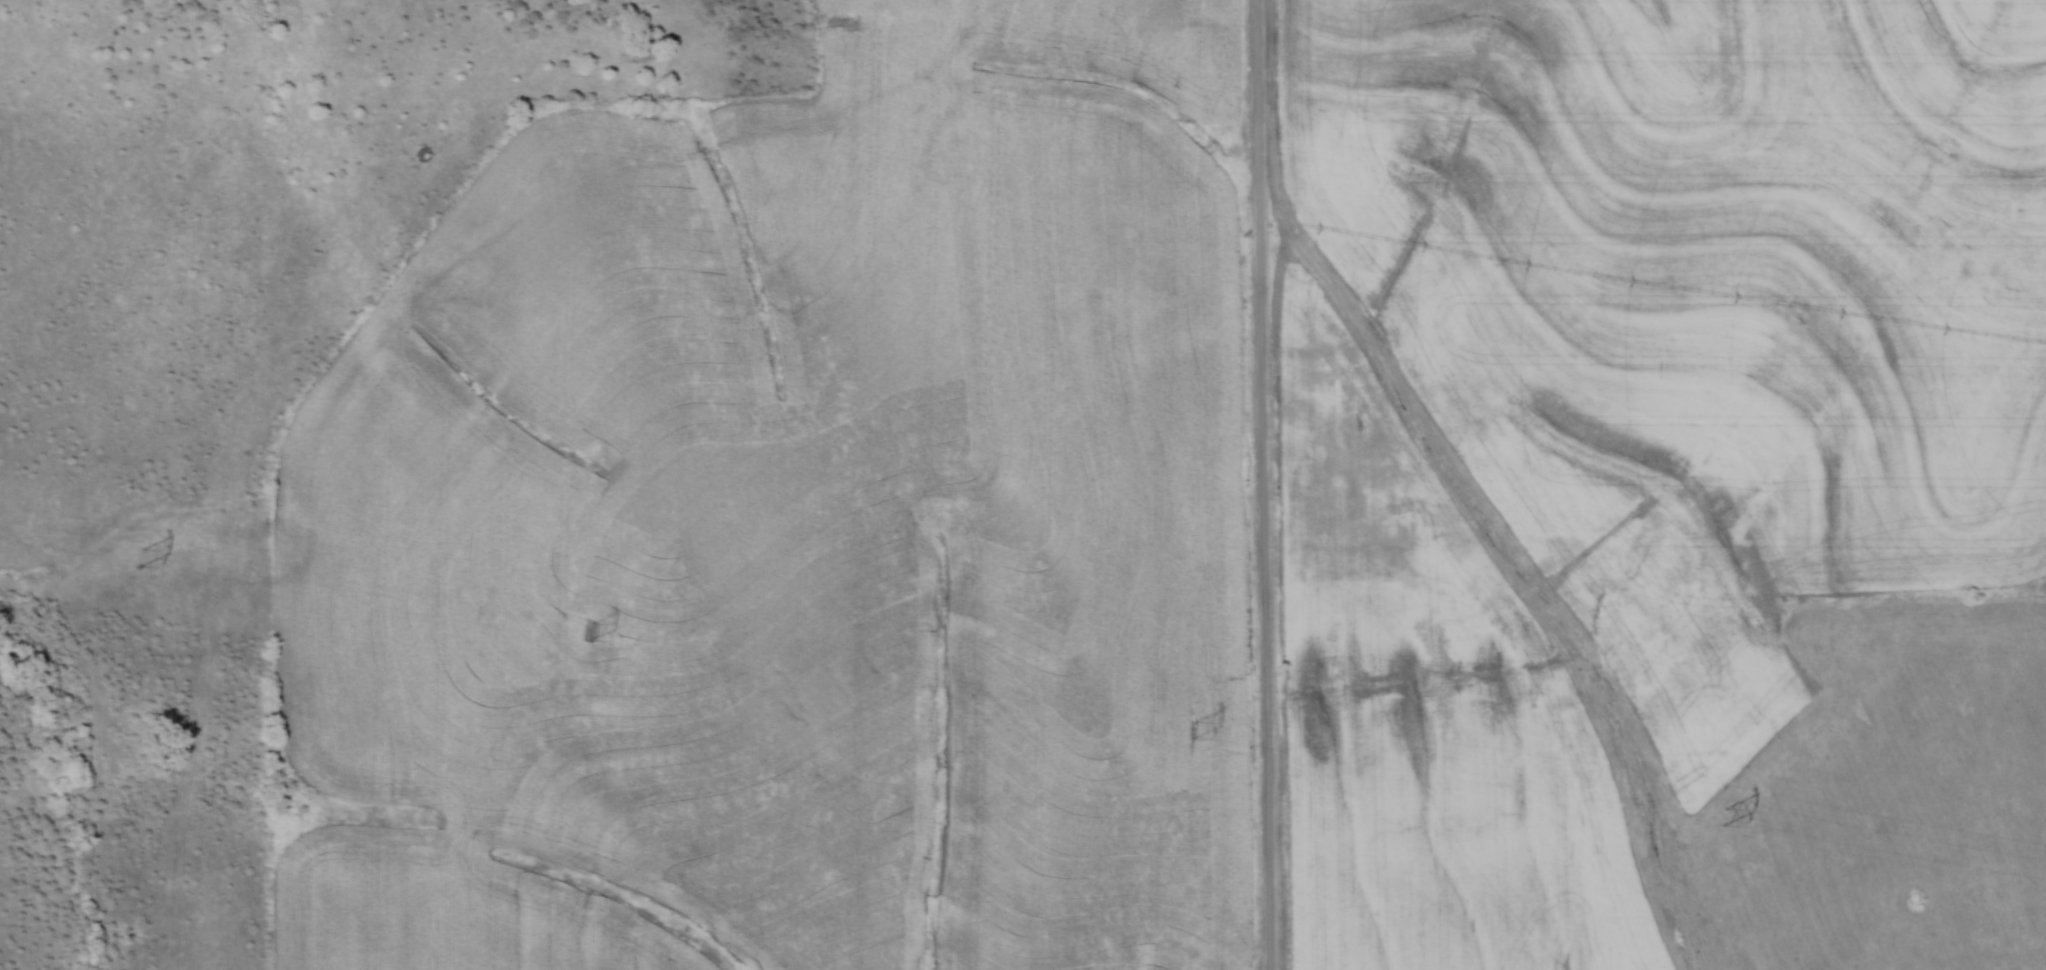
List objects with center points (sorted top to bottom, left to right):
building: (1305, 478)
road: (1262, 485)
power tower: (133, 557)
power tower: (587, 628)
power tower: (1190, 727)
power tower: (1721, 815)

